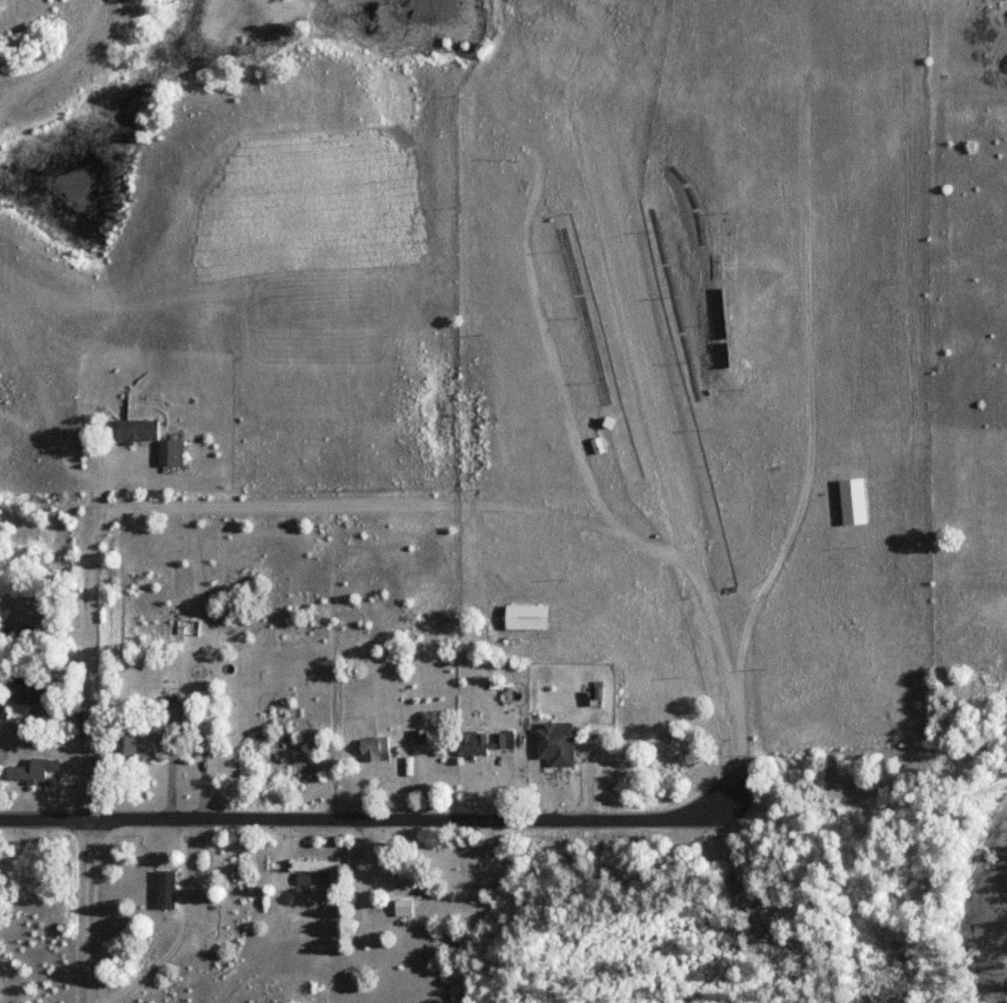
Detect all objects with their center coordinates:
building: (133, 429)
building: (168, 452)
building: (850, 501)
building: (523, 617)
building: (21, 621)
building: (20, 699)
building: (480, 743)
building: (552, 744)
building: (135, 747)
building: (372, 749)
building: (30, 770)
road: (82, 772)
road: (357, 820)
building: (311, 866)
building: (401, 877)
building: (300, 881)
building: (162, 890)
building: (400, 908)

